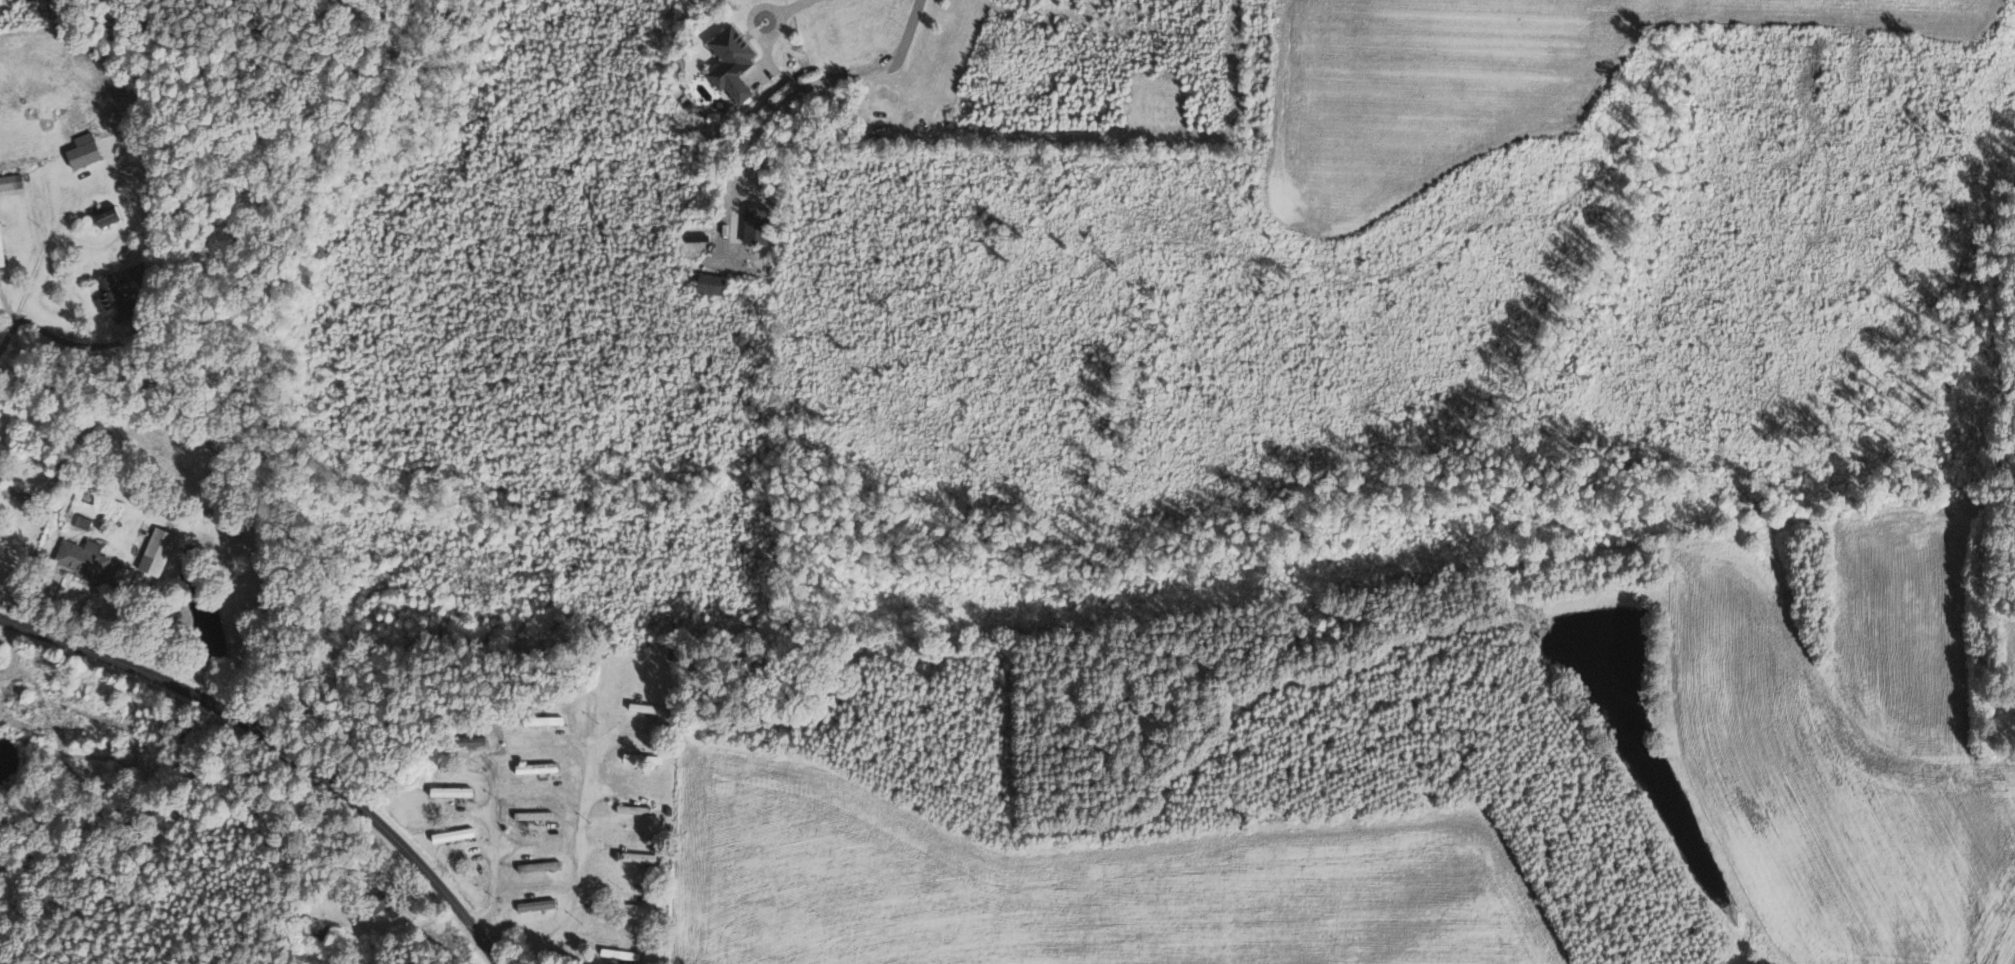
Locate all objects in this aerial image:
road: (793, 4)
road: (754, 27)
building: (736, 62)
road: (806, 87)
building: (88, 150)
building: (12, 182)
building: (110, 216)
building: (760, 225)
building: (715, 284)
road: (31, 287)
building: (117, 301)
road: (83, 345)
building: (83, 521)
building: (160, 552)
building: (87, 559)
building: (663, 729)
road: (280, 747)
building: (539, 768)
building: (459, 792)
building: (537, 816)
building: (639, 858)
road: (494, 865)
road: (579, 890)
building: (540, 905)
building: (641, 909)
building: (324, 933)

